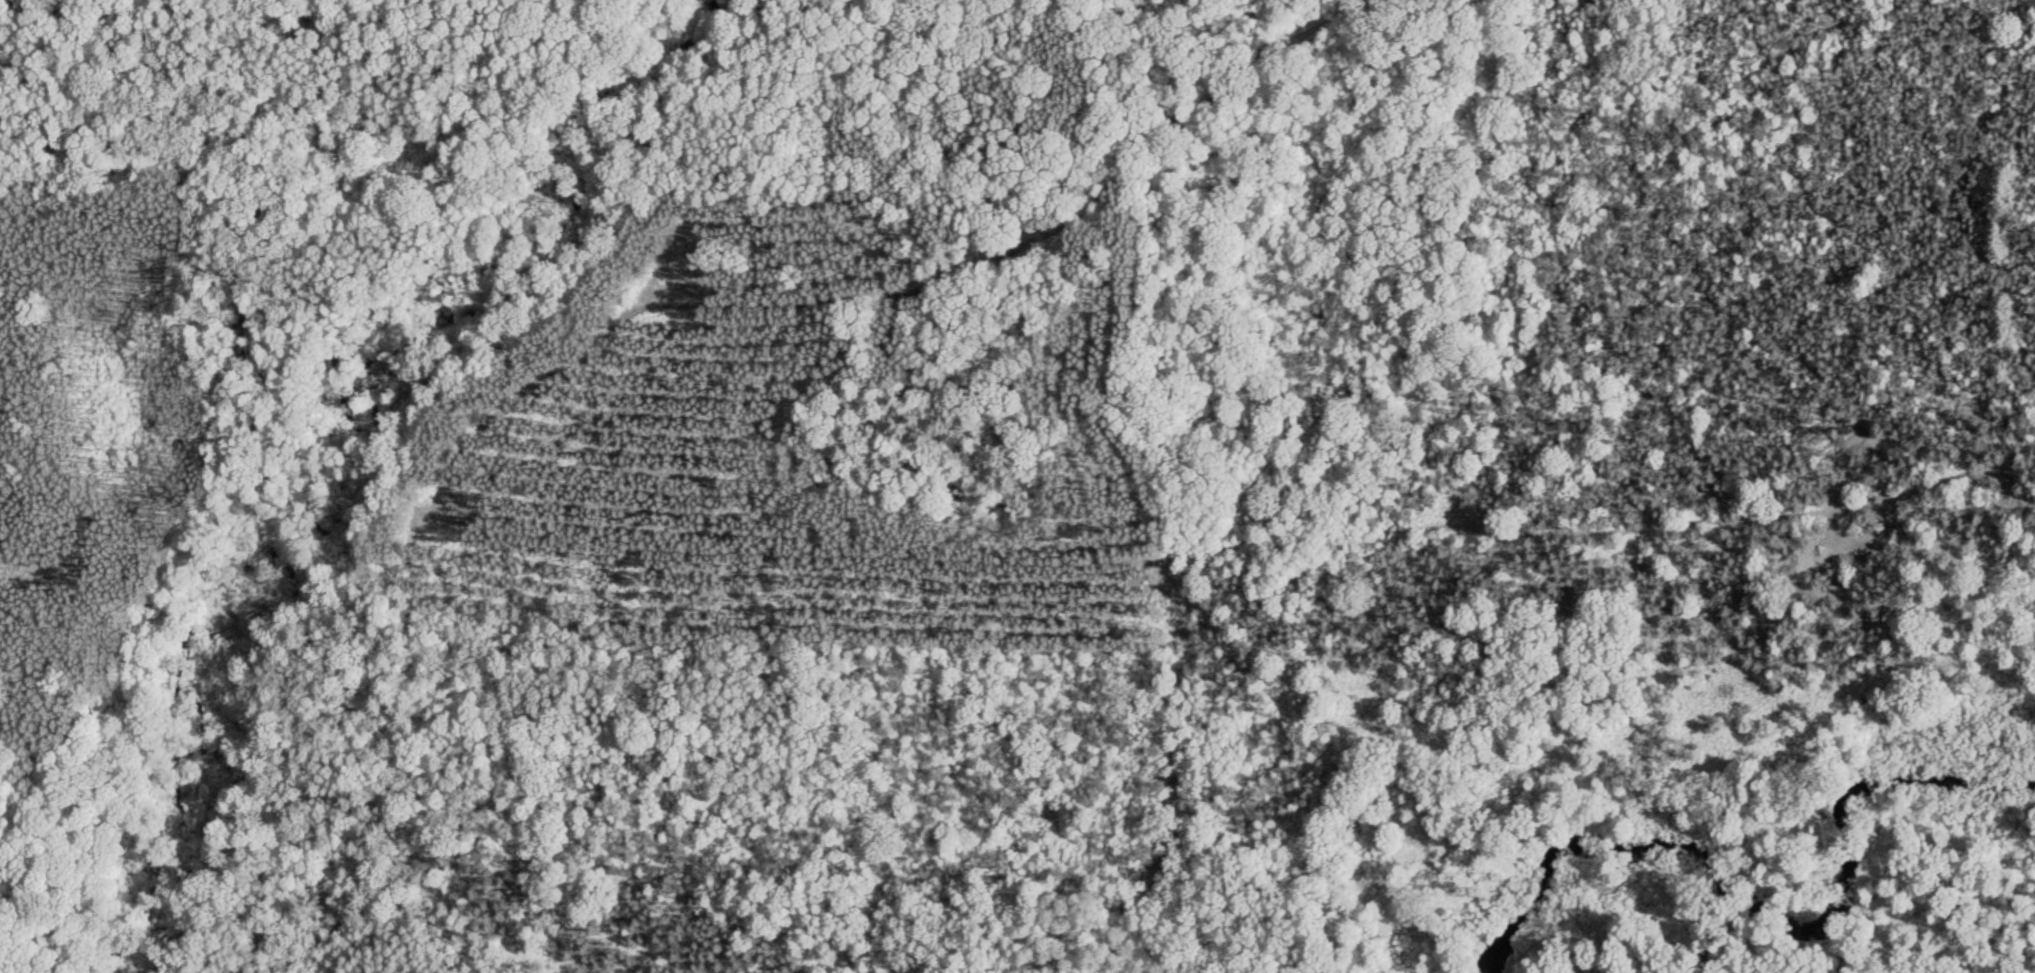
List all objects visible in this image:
road: (1918, 907)

